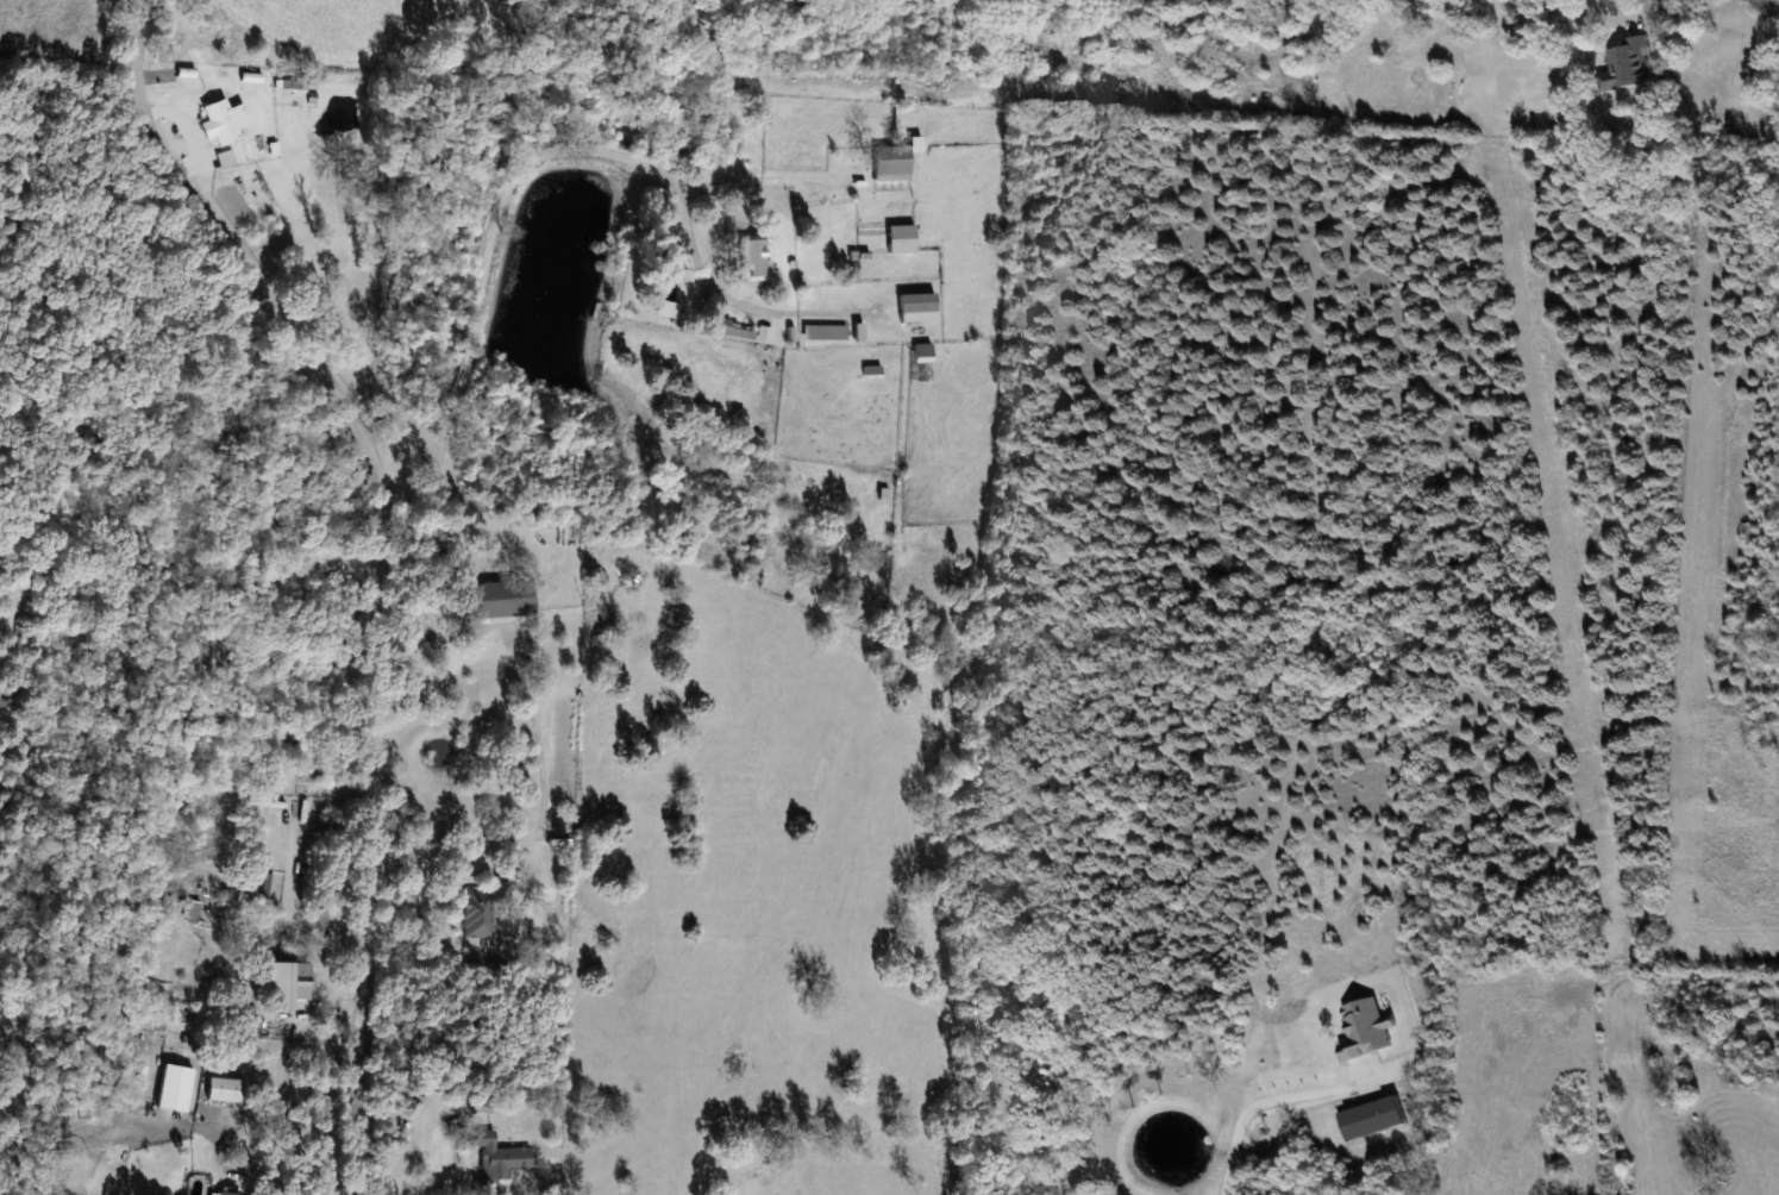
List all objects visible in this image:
road: (69, 51)
building: (1629, 60)
building: (221, 120)
road: (543, 156)
building: (891, 162)
building: (901, 238)
building: (756, 257)
building: (917, 307)
building: (668, 308)
building: (734, 330)
building: (823, 332)
building: (922, 352)
road: (382, 561)
building: (503, 597)
building: (484, 909)
building: (189, 912)
building: (288, 984)
building: (226, 1090)
road: (1263, 1100)
road: (283, 1105)
building: (500, 1160)
road: (434, 1162)
building: (226, 1194)

